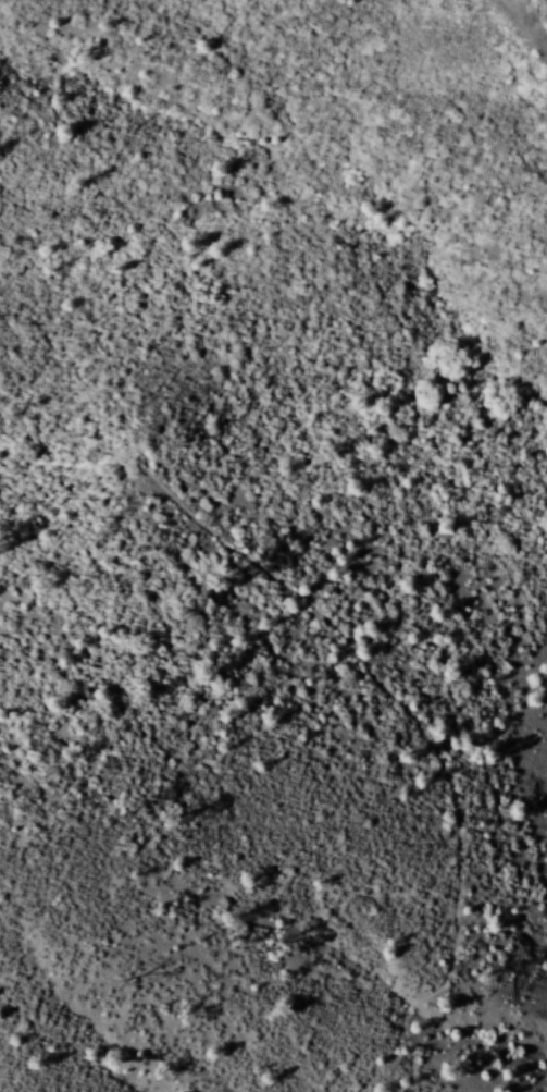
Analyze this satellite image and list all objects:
road: (531, 20)

